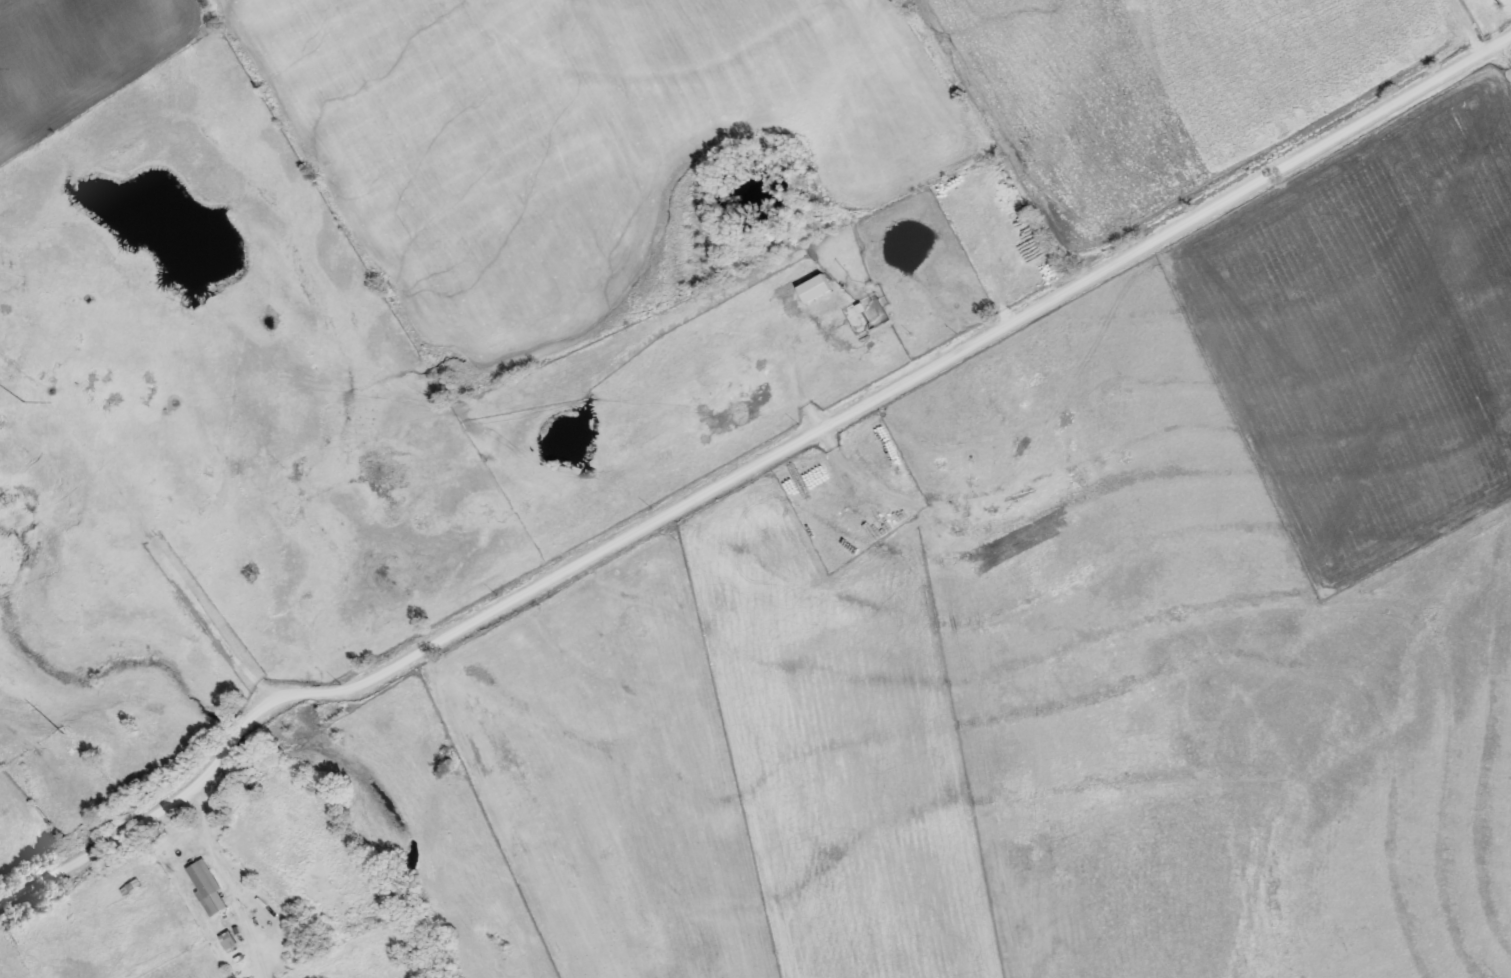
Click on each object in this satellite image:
building: (810, 286)
power tower: (22, 402)
road: (744, 467)
power tower: (65, 733)
building: (203, 886)
building: (225, 939)

